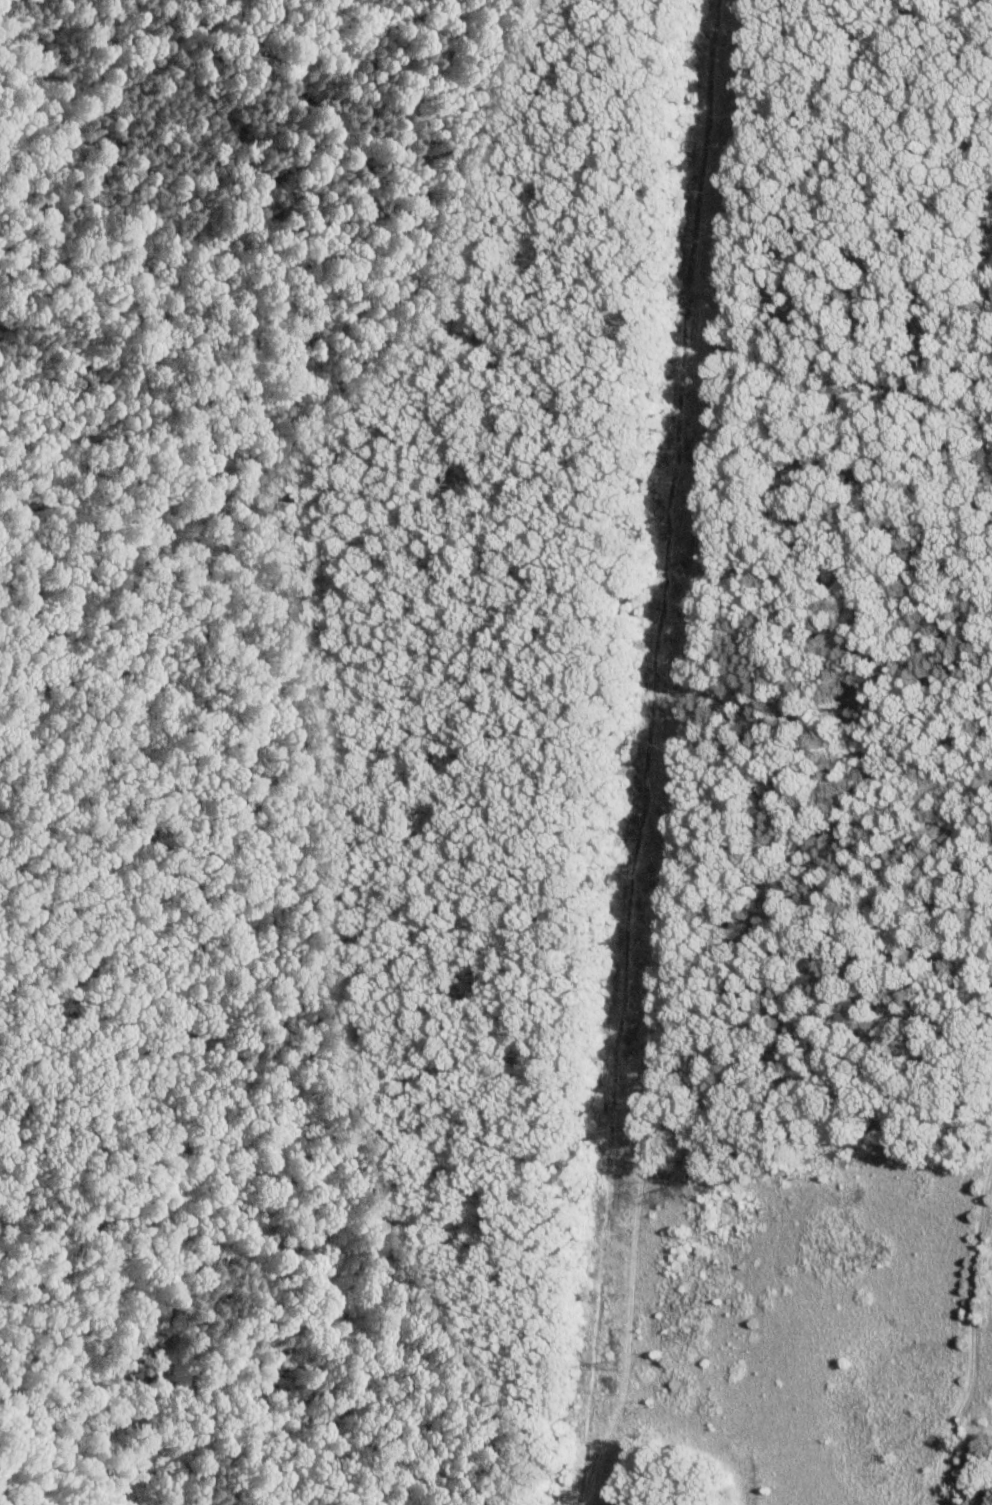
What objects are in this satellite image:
power tower: (730, 39)
road: (91, 372)
power tower: (692, 450)
park: (496, 752)
power tower: (653, 875)
road: (377, 1227)
road: (971, 1335)
power tower: (609, 1365)

